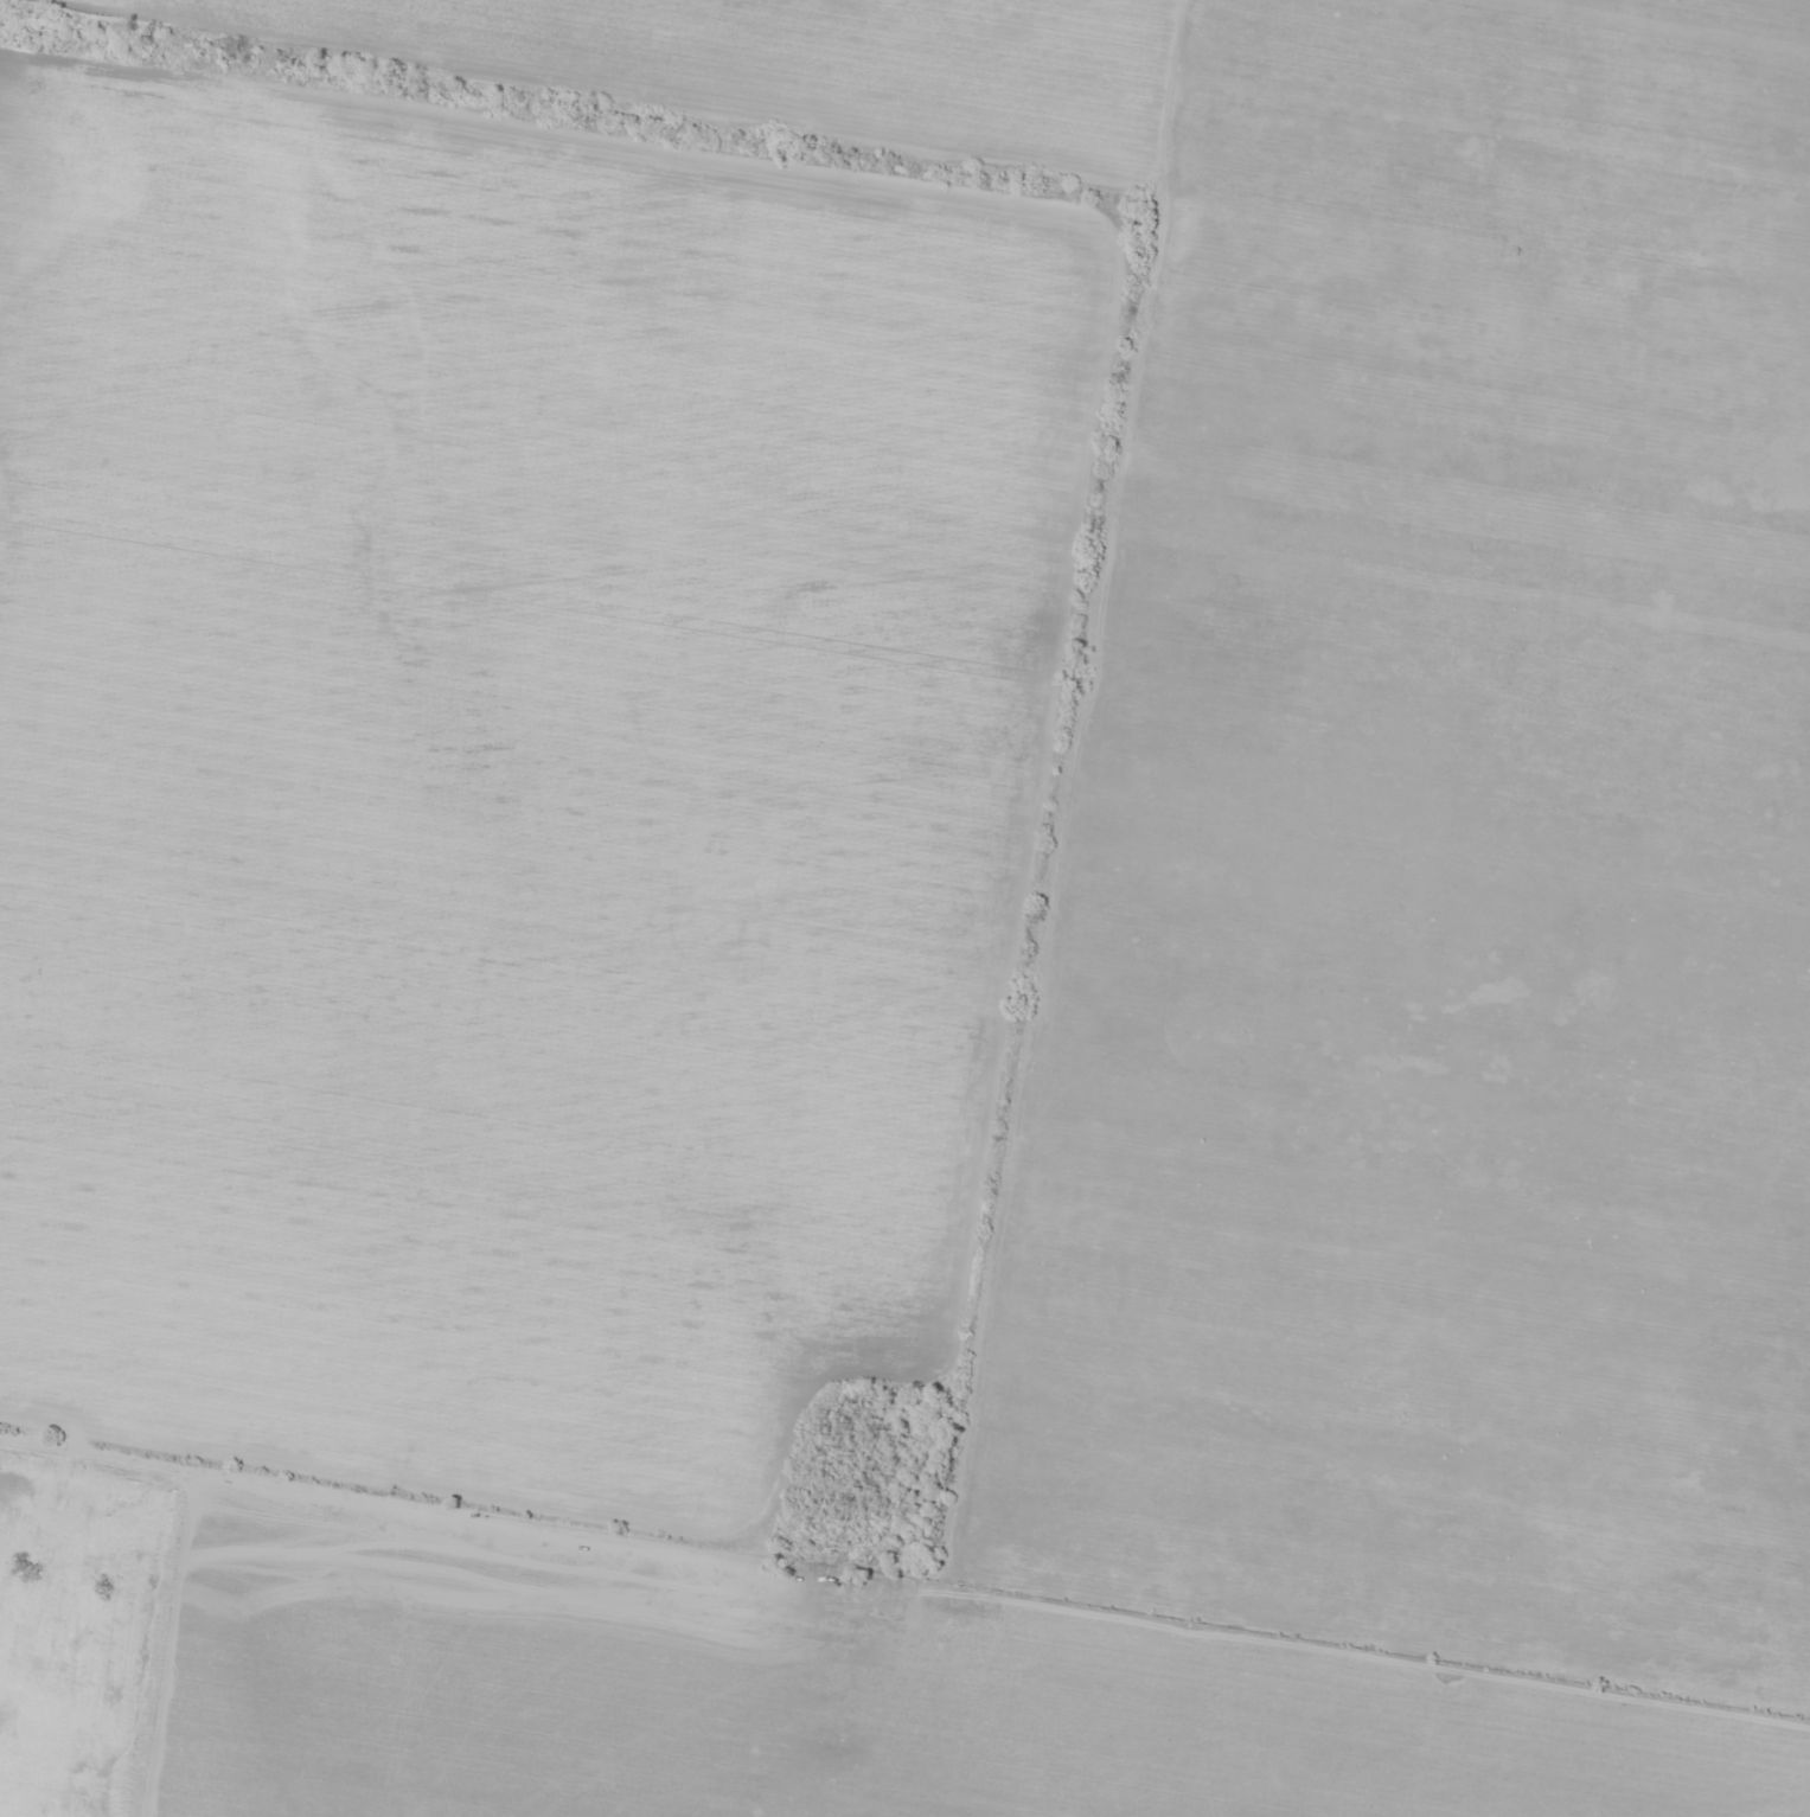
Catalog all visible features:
road: (1126, 449)
road: (1790, 1693)

